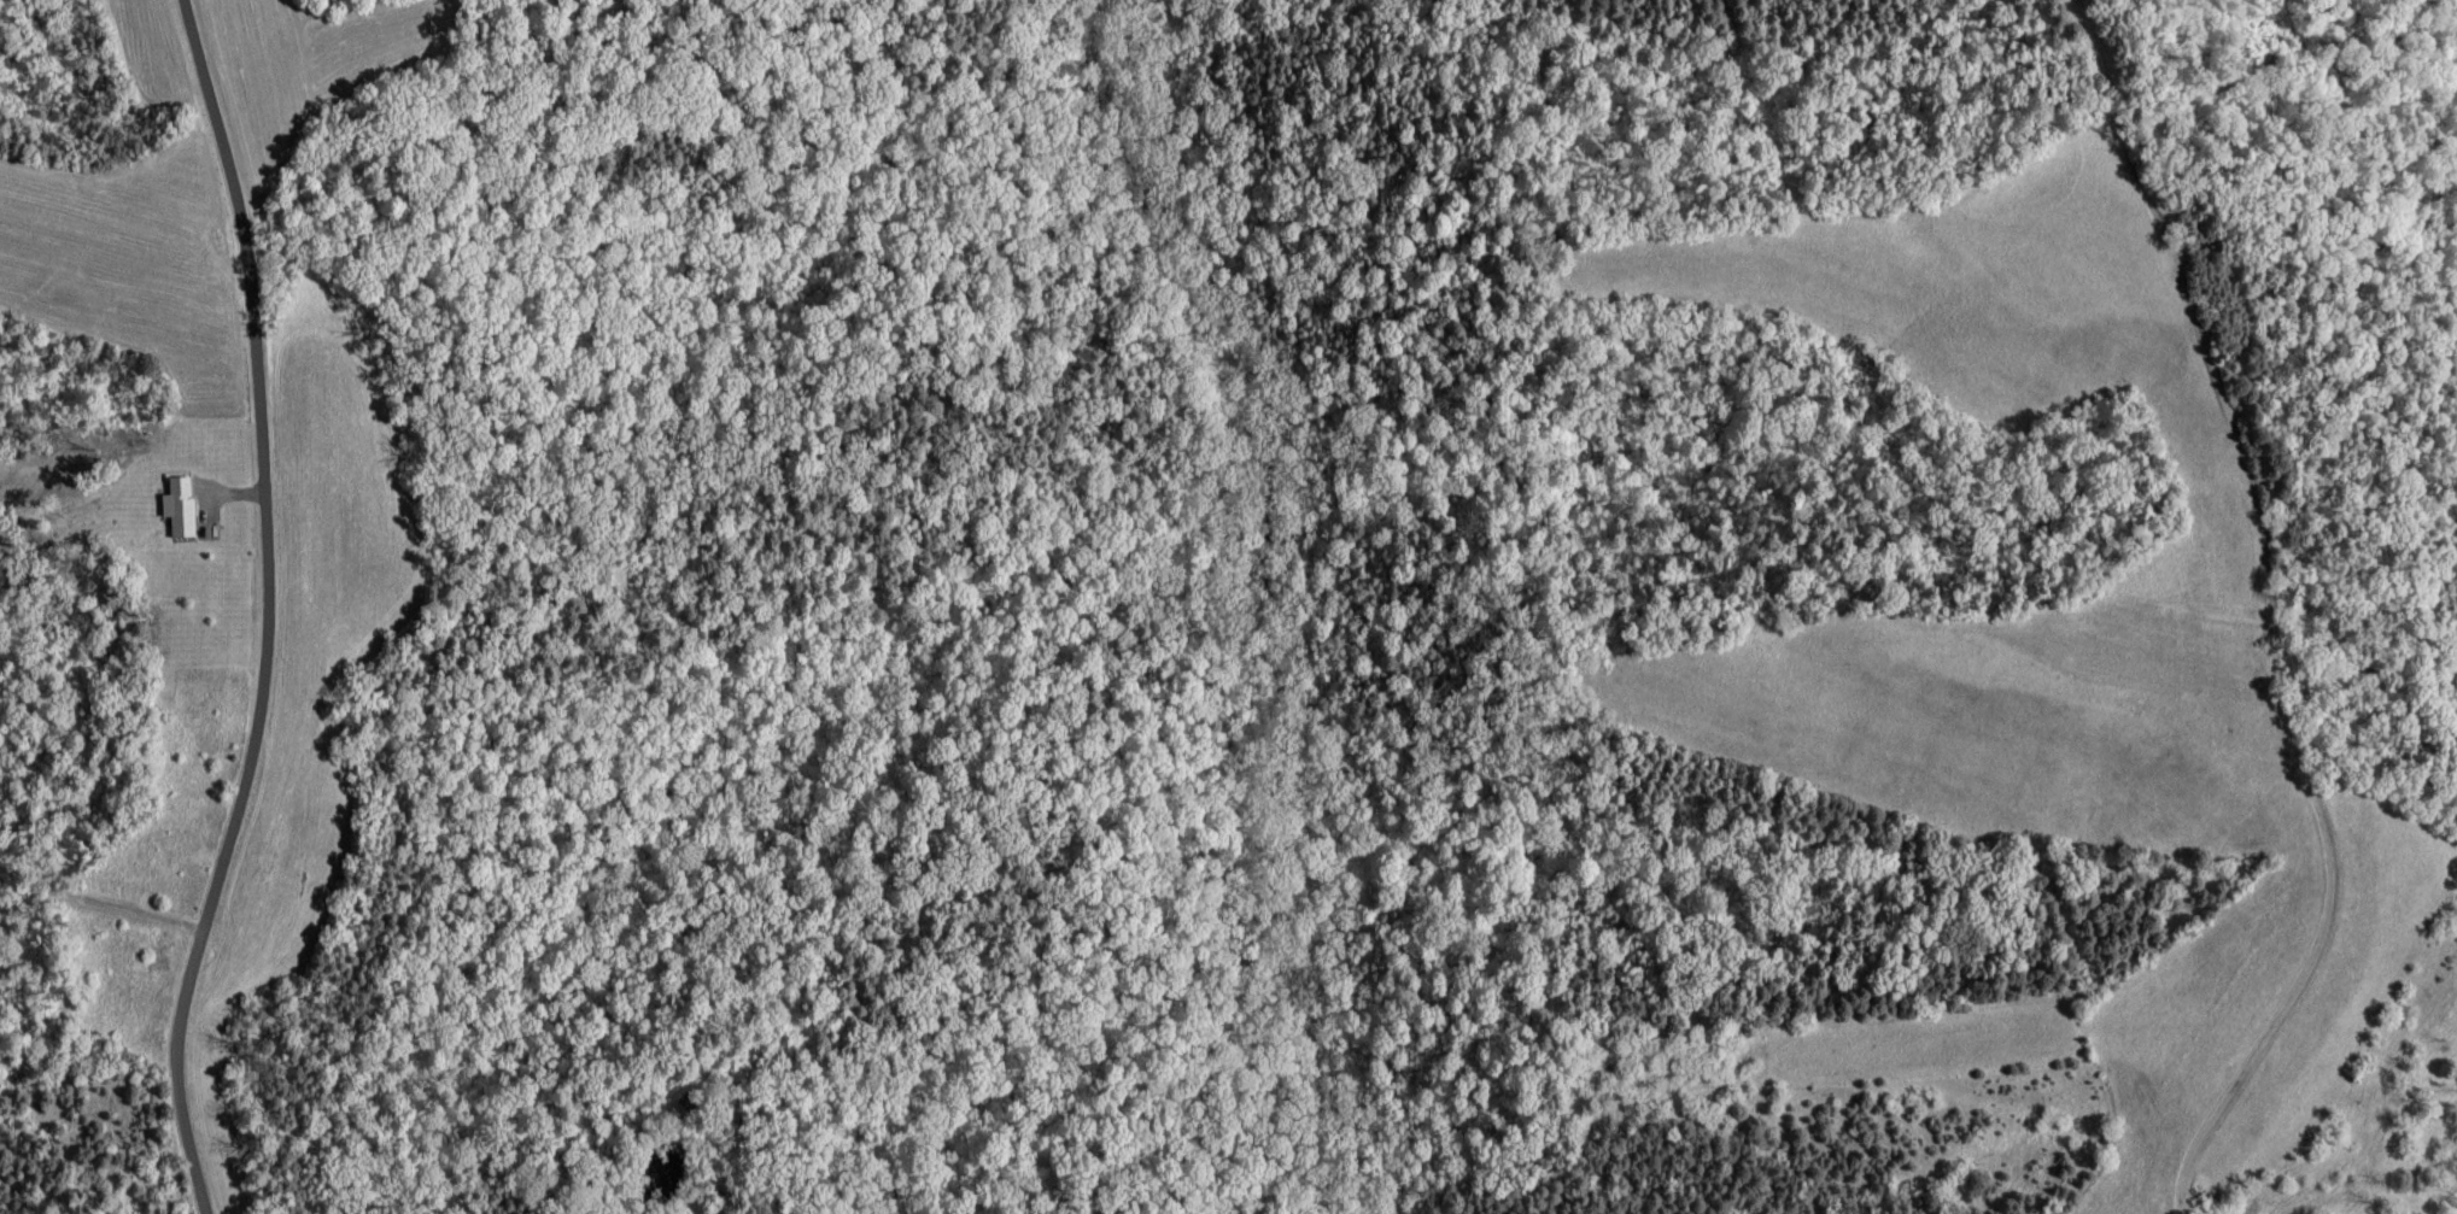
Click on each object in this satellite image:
road: (262, 610)
crop: (2064, 720)

